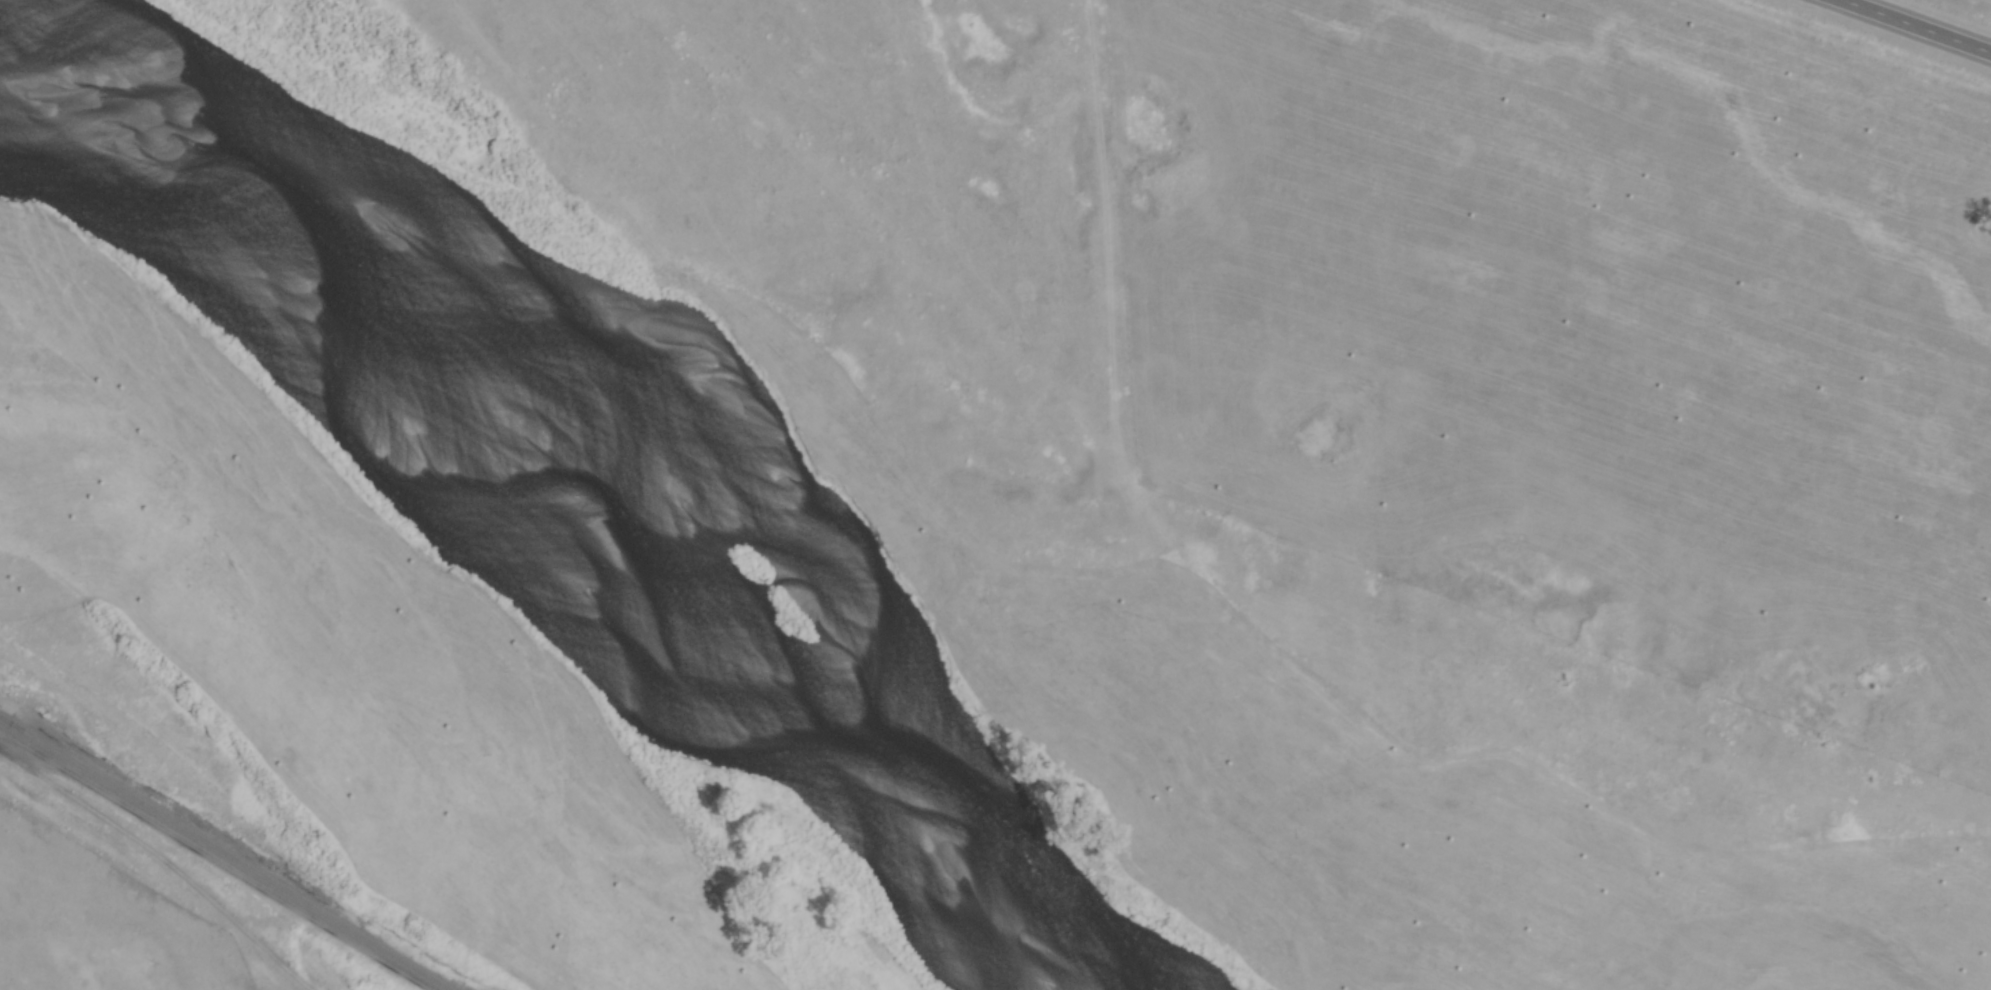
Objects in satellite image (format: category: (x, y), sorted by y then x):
road: (1910, 28)
river: (555, 489)
railway: (227, 852)

